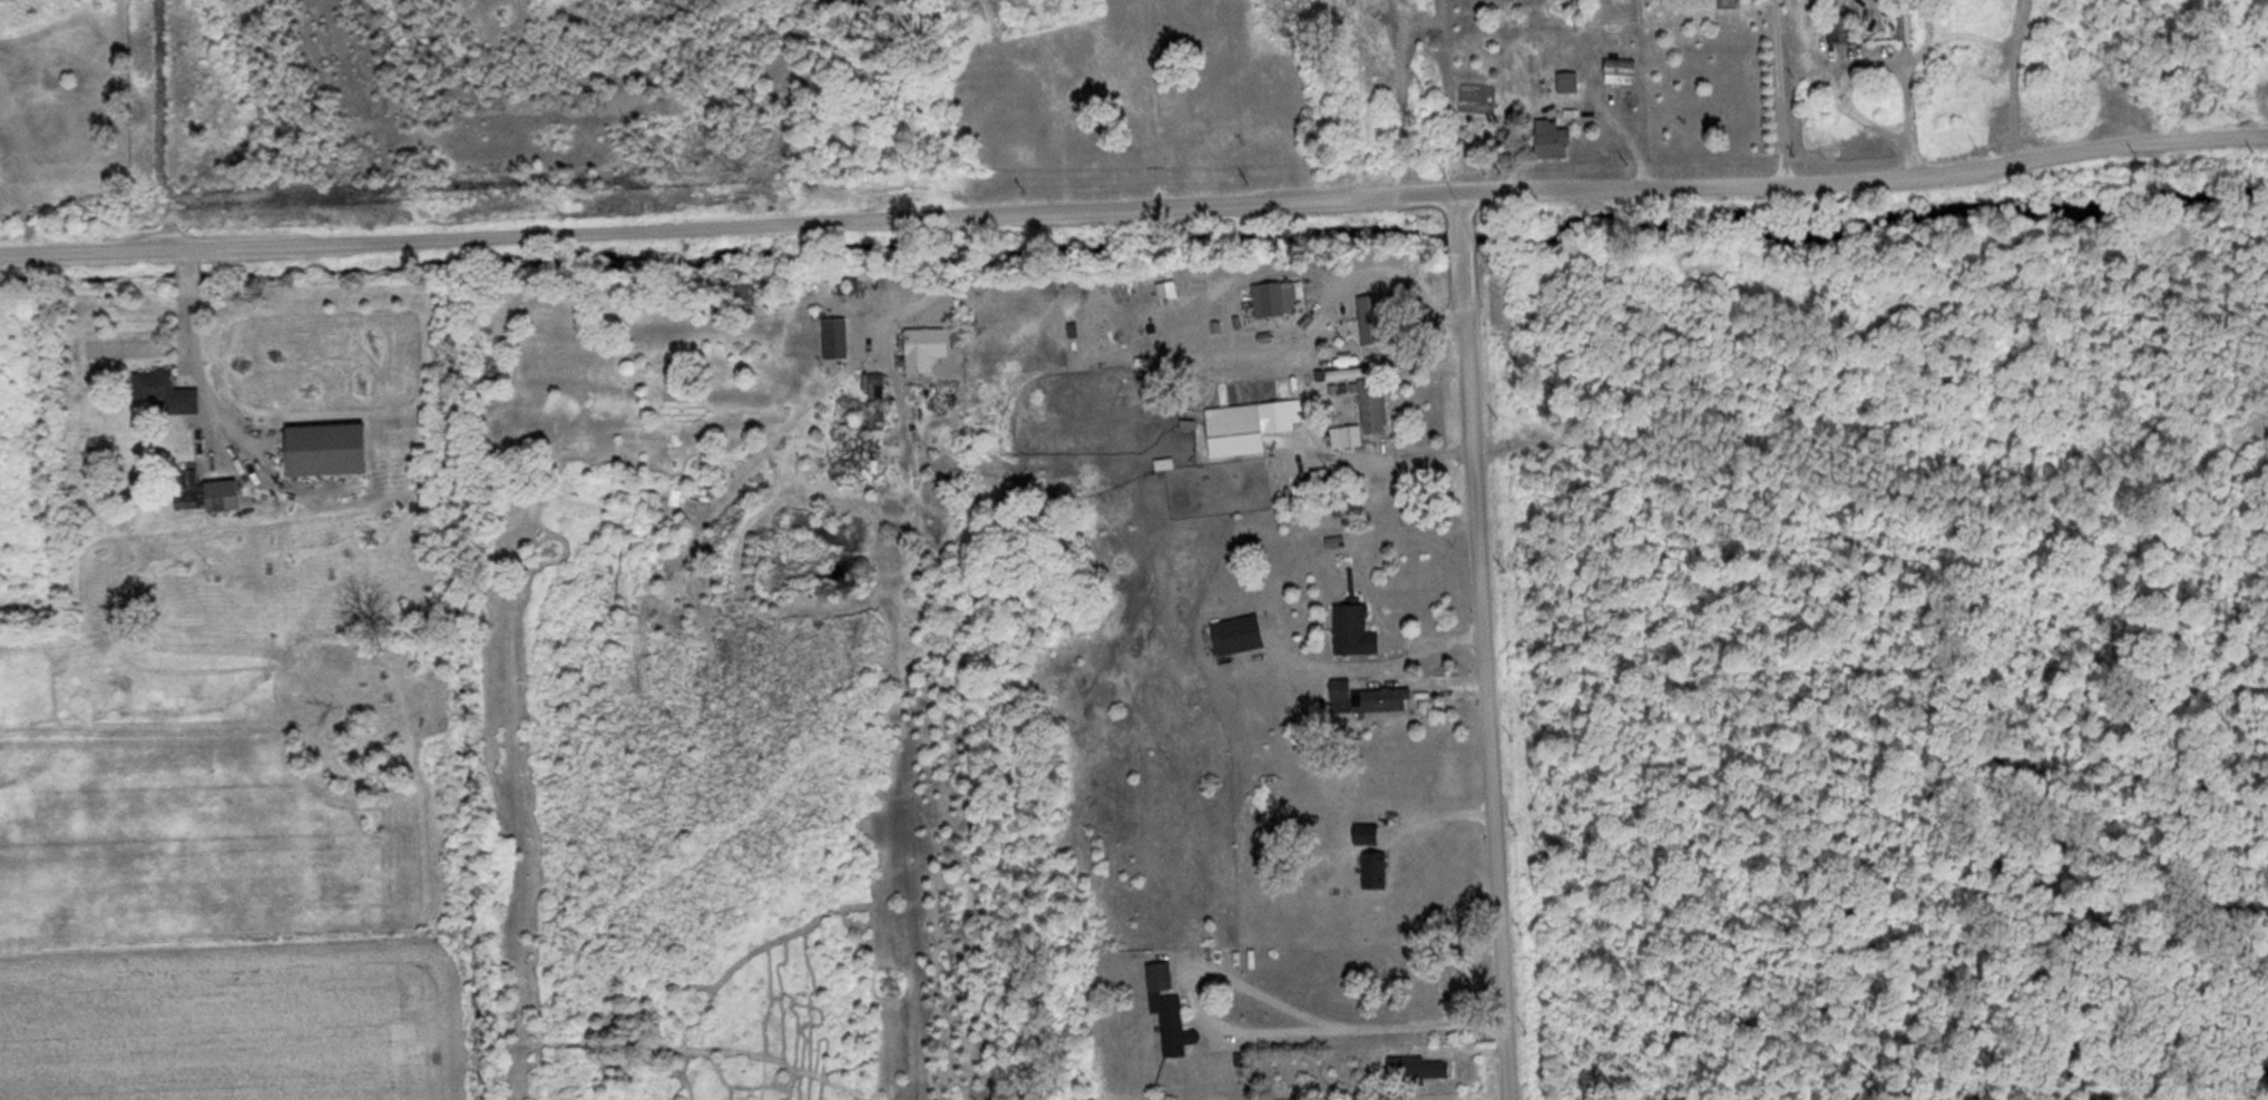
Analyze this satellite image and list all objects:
road: (325, 26)
building: (1844, 30)
building: (1625, 75)
building: (1560, 141)
road: (1134, 204)
road: (1450, 245)
building: (1280, 302)
building: (1377, 323)
building: (827, 340)
building: (930, 351)
building: (170, 393)
building: (1367, 418)
building: (1250, 431)
building: (333, 452)
building: (222, 498)
building: (1347, 564)
building: (1359, 635)
building: (1242, 638)
road: (1479, 699)
building: (1385, 703)
building: (1379, 873)
building: (1170, 1011)
building: (1421, 1071)

